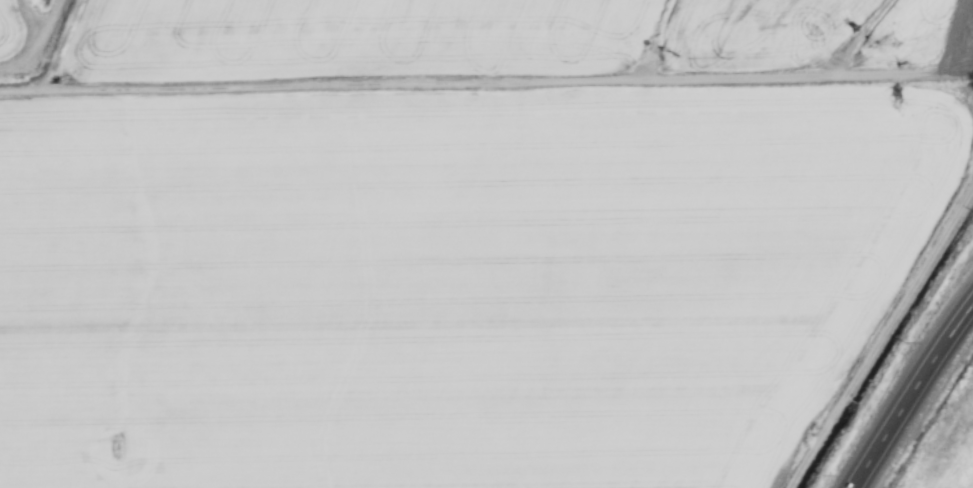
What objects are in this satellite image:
road: (911, 396)

